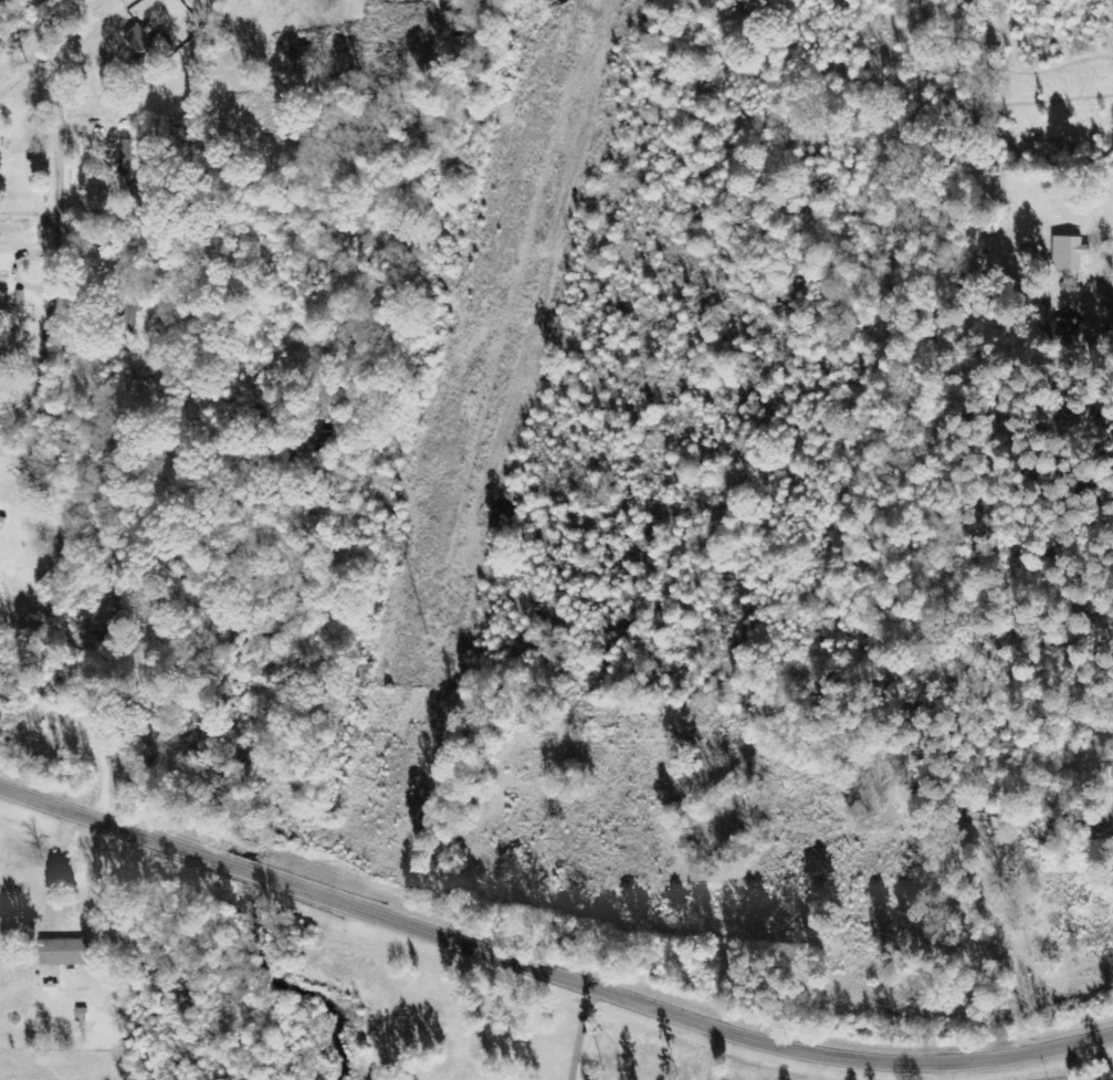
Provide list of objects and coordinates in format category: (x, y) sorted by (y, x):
building: (149, 45)
building: (126, 166)
road: (57, 232)
building: (1070, 252)
building: (1067, 327)
power tower: (424, 629)
building: (65, 952)
road: (548, 973)
road: (904, 1073)

